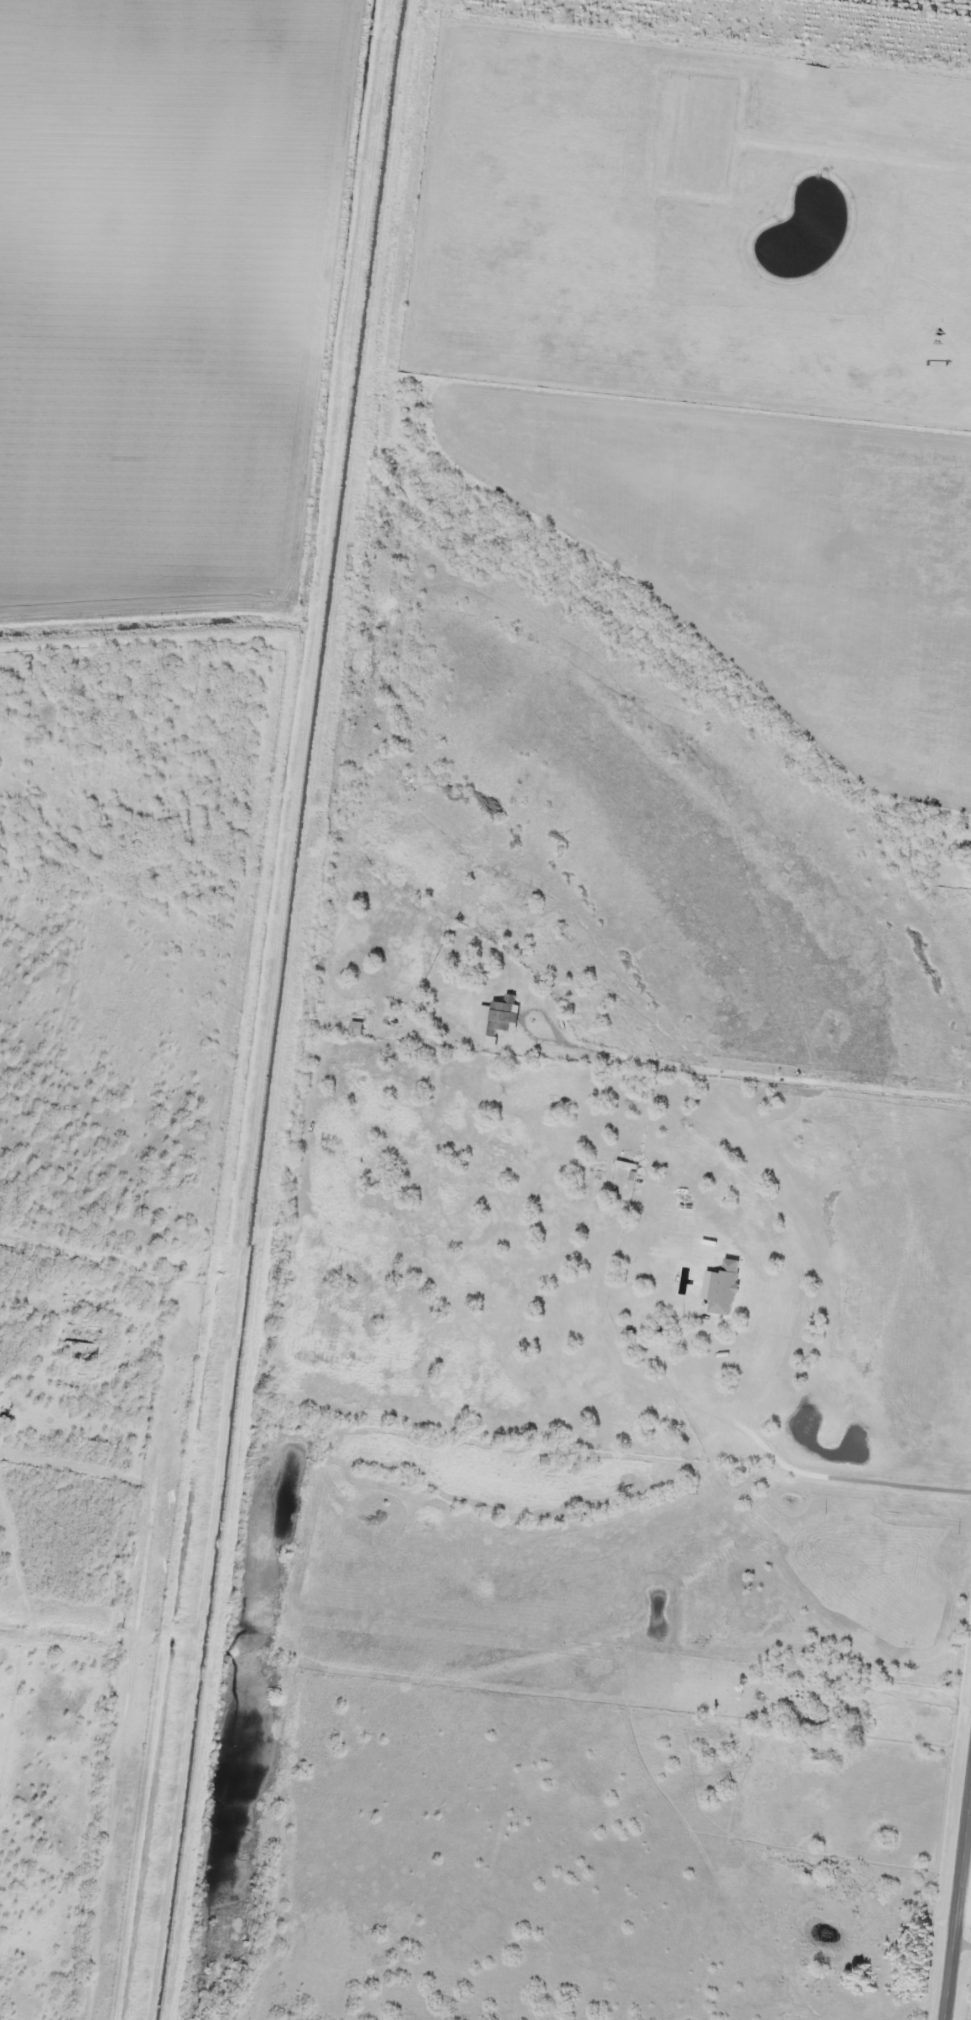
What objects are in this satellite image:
river: (621, 826)
building: (499, 1014)
building: (356, 1028)
building: (723, 1288)
building: (631, 1485)
road: (885, 1627)
road: (135, 1760)
road: (965, 1908)
road: (958, 1913)

